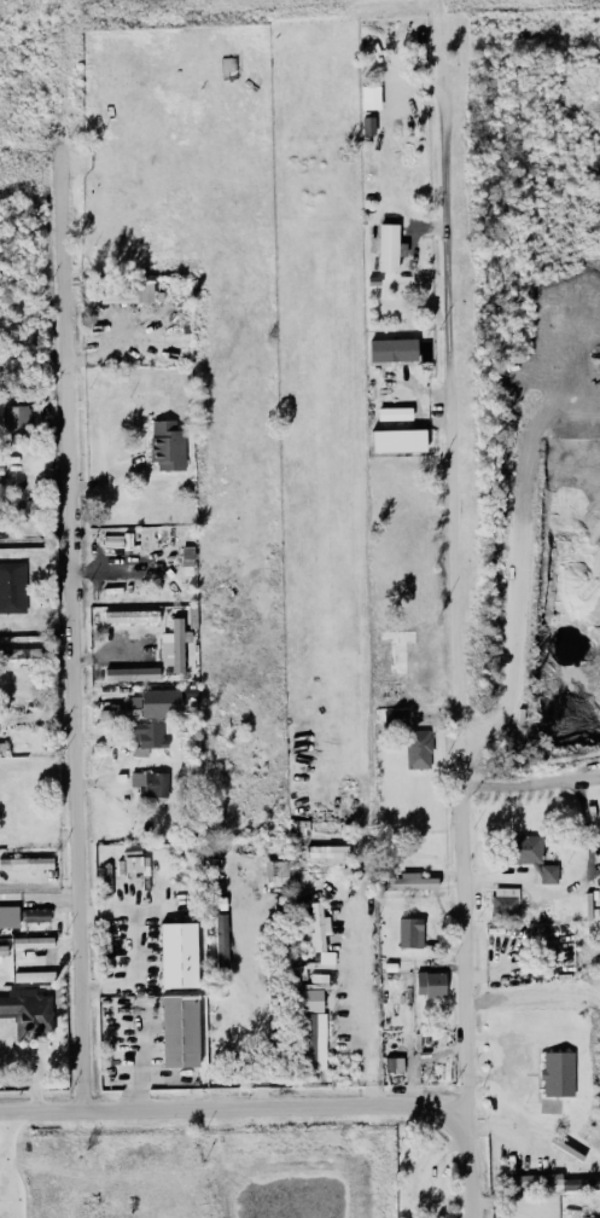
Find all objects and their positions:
building: (371, 95)
building: (368, 124)
building: (389, 246)
building: (126, 290)
building: (394, 348)
road: (458, 382)
building: (394, 412)
building: (17, 419)
building: (398, 440)
building: (168, 445)
building: (1, 459)
building: (117, 540)
road: (71, 578)
building: (12, 586)
building: (132, 615)
building: (175, 644)
building: (21, 651)
building: (132, 673)
building: (147, 704)
building: (147, 736)
building: (2, 747)
road: (535, 776)
building: (150, 783)
building: (524, 848)
building: (330, 852)
building: (136, 860)
building: (27, 862)
building: (276, 872)
building: (549, 872)
building: (409, 882)
road: (578, 882)
road: (37, 886)
road: (37, 895)
building: (505, 898)
building: (36, 913)
building: (8, 916)
building: (320, 932)
building: (410, 932)
road: (474, 933)
building: (221, 936)
building: (33, 941)
road: (138, 945)
road: (60, 946)
building: (179, 953)
road: (502, 963)
building: (34, 975)
building: (430, 982)
building: (313, 992)
road: (537, 994)
road: (260, 998)
road: (366, 1002)
building: (29, 1011)
building: (180, 1029)
building: (313, 1039)
road: (142, 1058)
building: (558, 1072)
road: (286, 1102)
road: (2, 1159)
road: (5, 1160)
building: (551, 1181)
road: (7, 1208)
building: (590, 1217)

